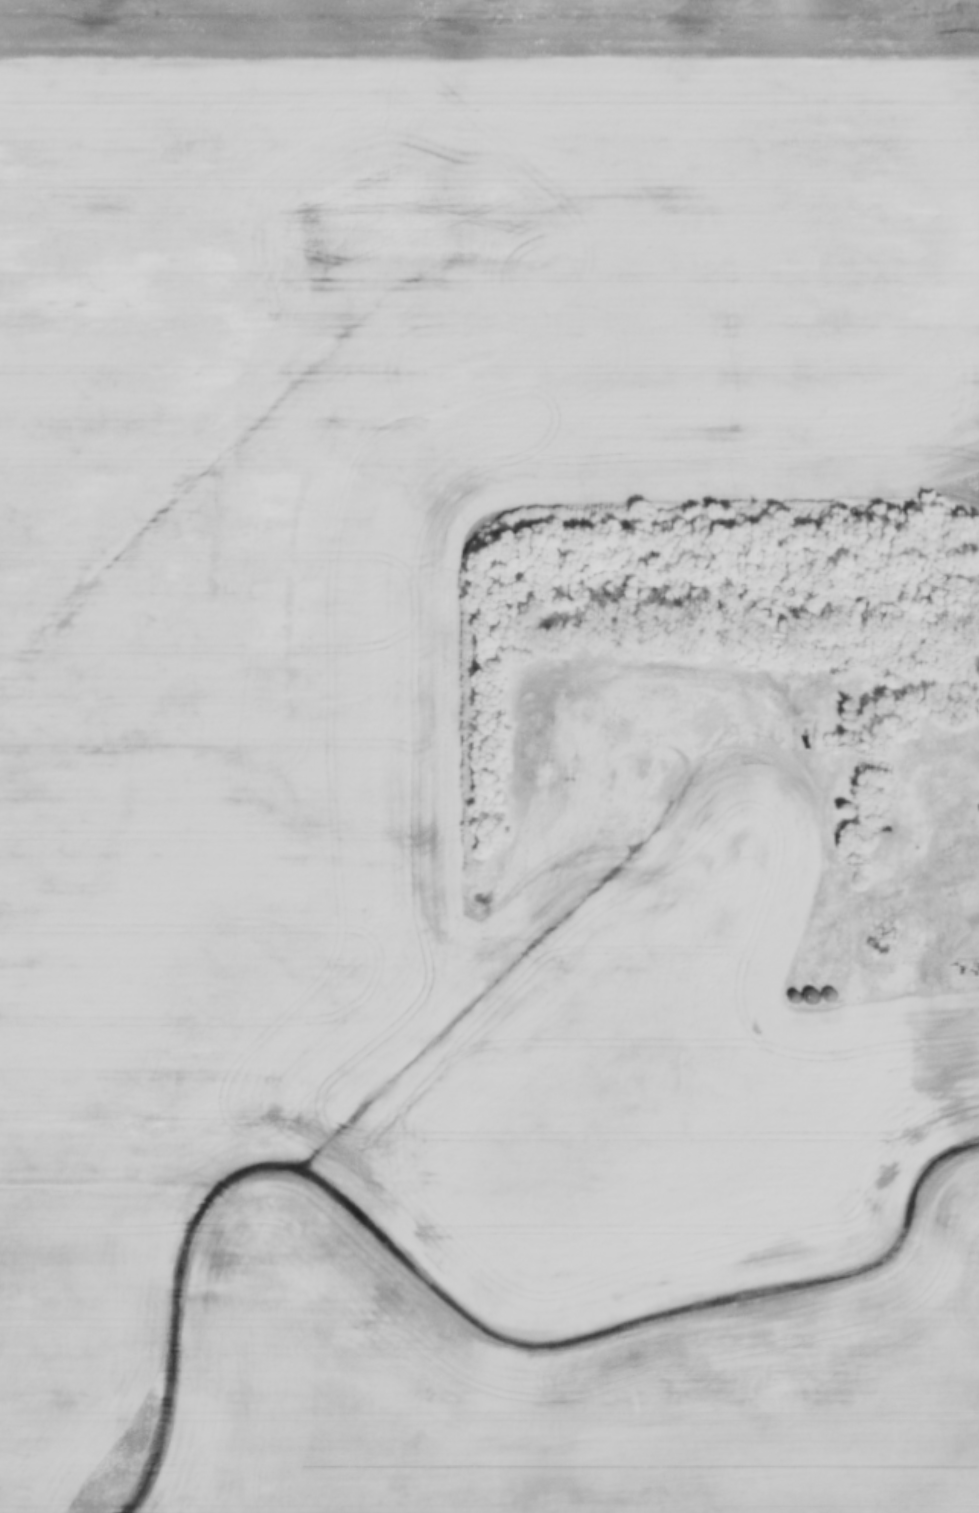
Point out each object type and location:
building: (948, 793)
road: (935, 859)

